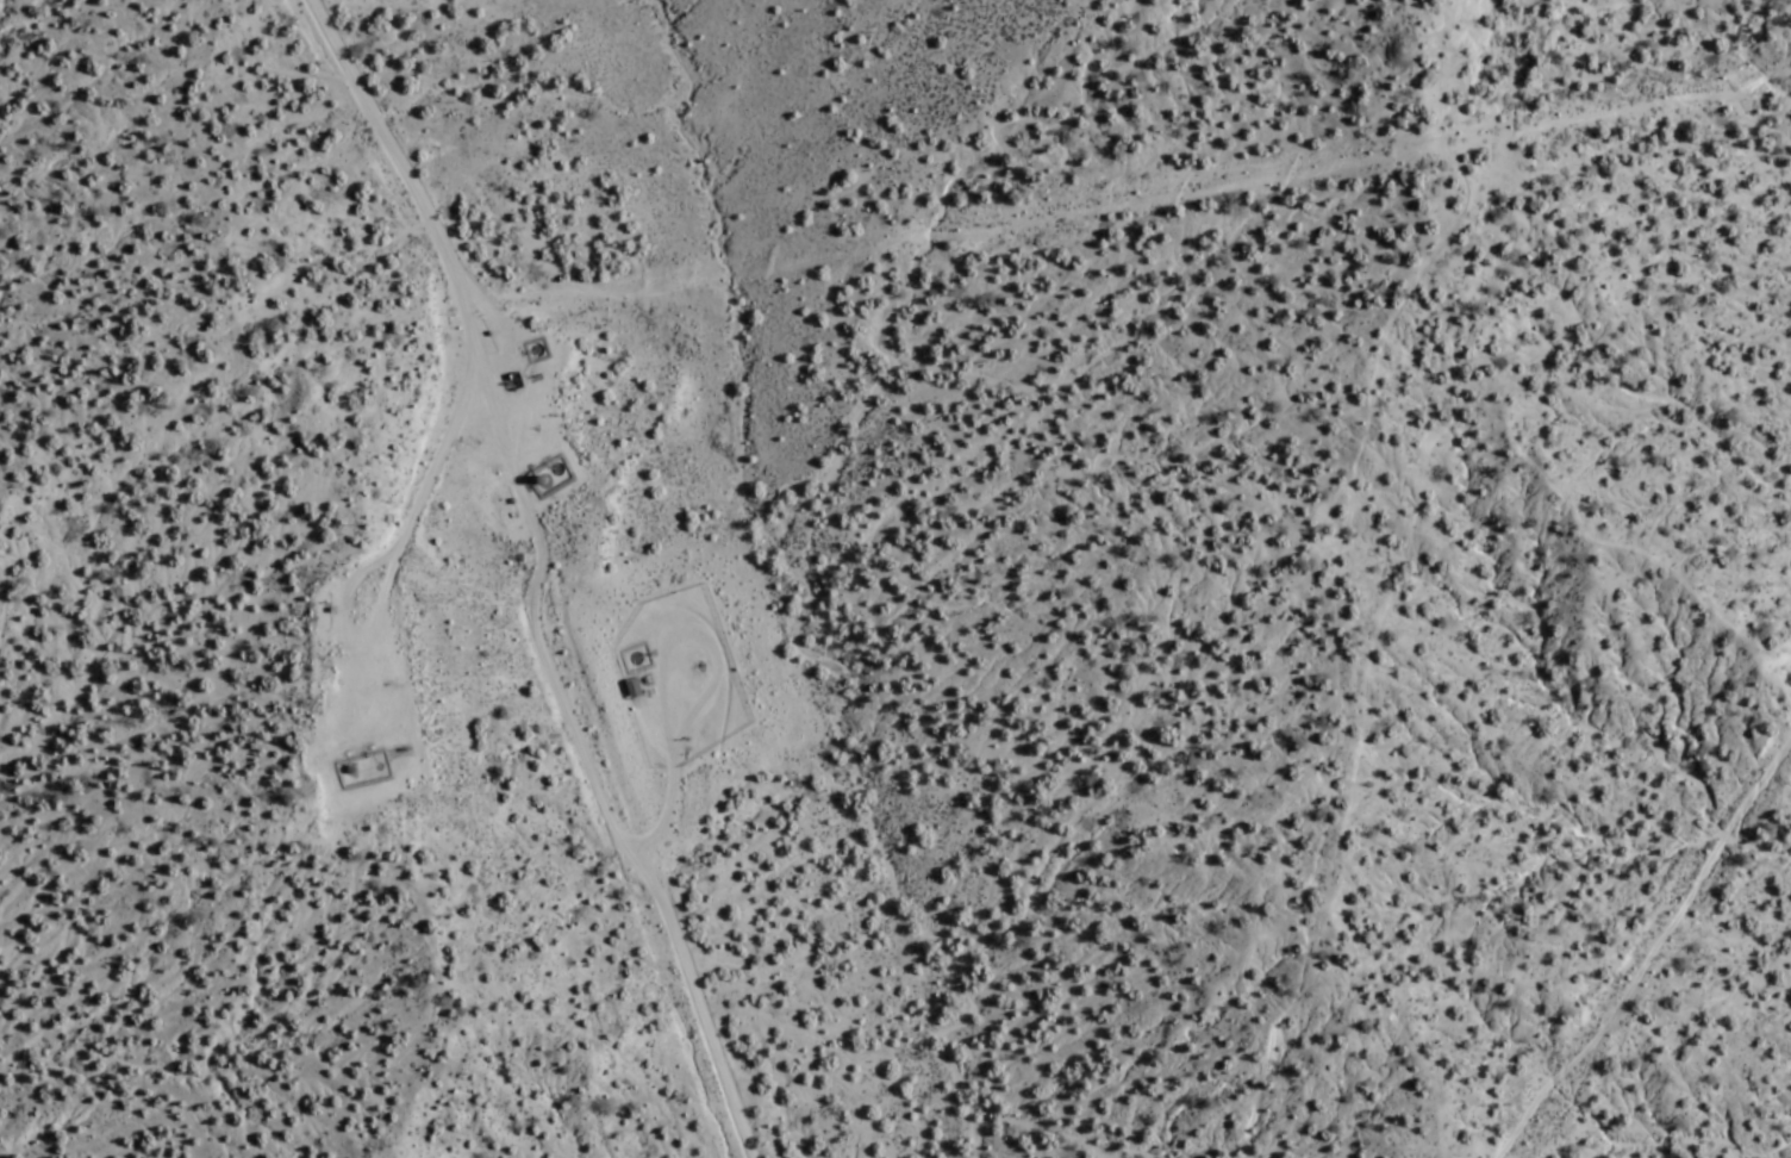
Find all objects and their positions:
road: (1647, 102)
road: (1502, 183)
road: (951, 237)
road: (1334, 569)
road: (535, 578)
road: (389, 668)
road: (663, 674)
road: (1649, 951)

